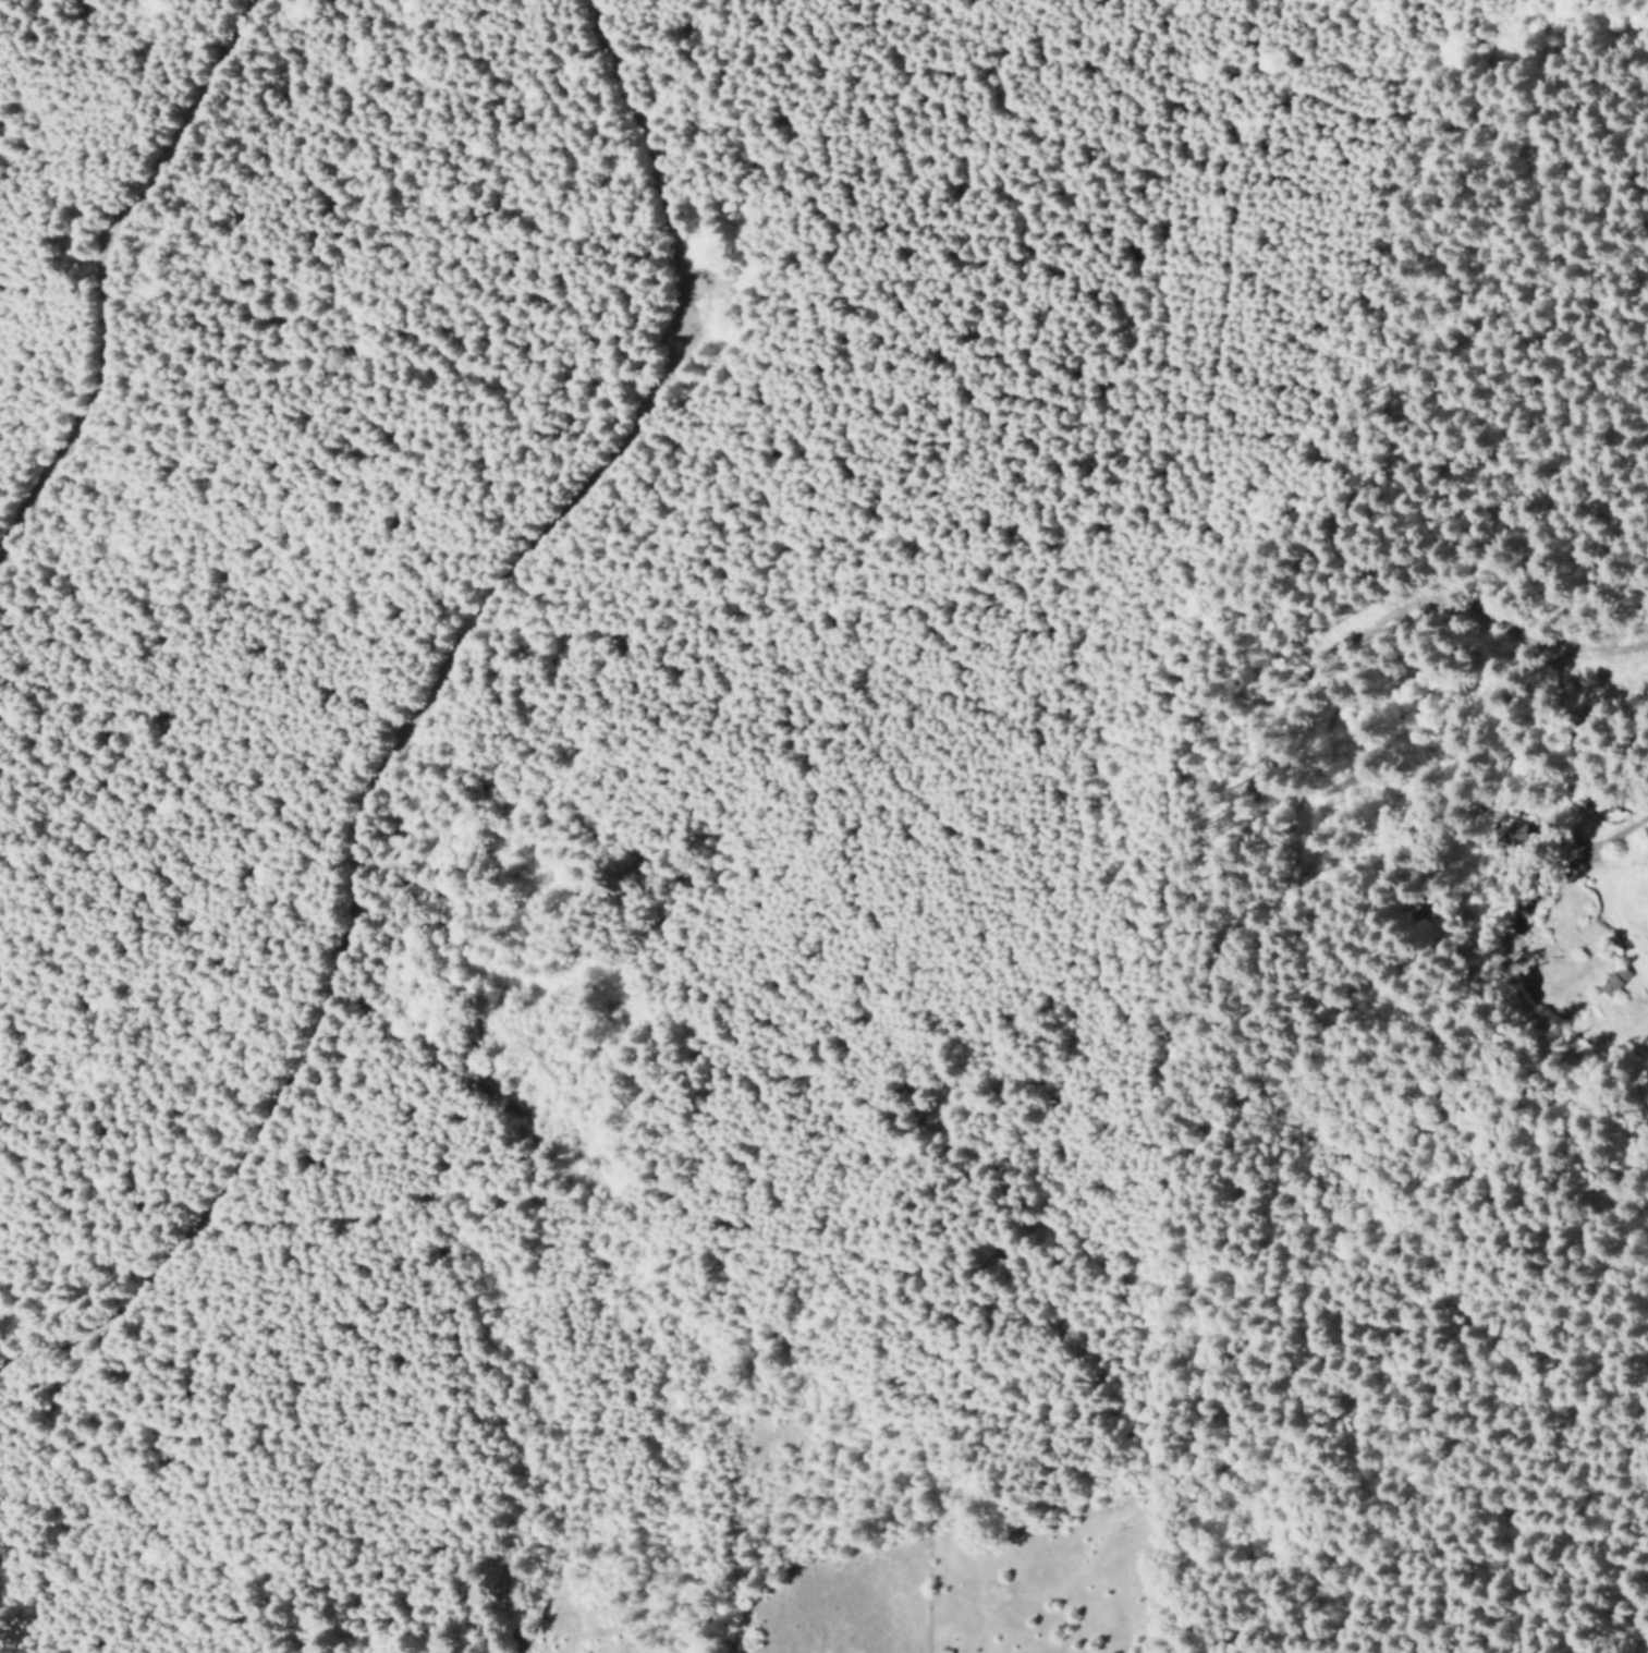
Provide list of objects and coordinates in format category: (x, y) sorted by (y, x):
road: (1583, 819)
building: (1613, 980)

